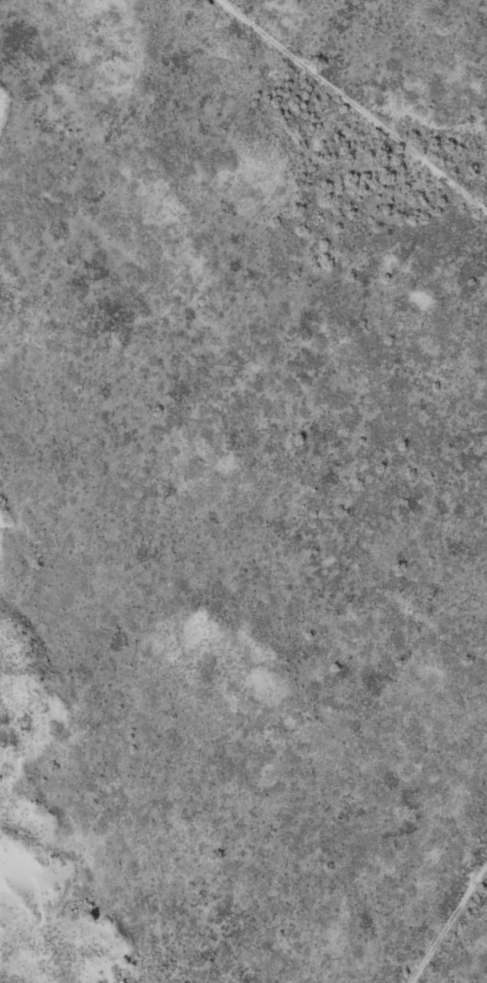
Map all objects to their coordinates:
road: (358, 100)

